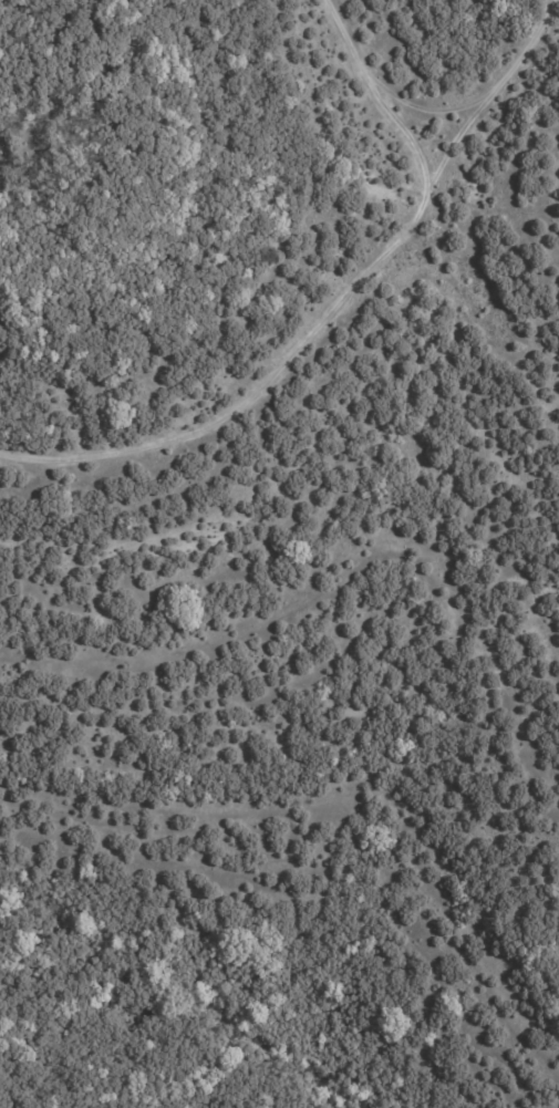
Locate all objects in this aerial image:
road: (390, 86)
road: (331, 311)

